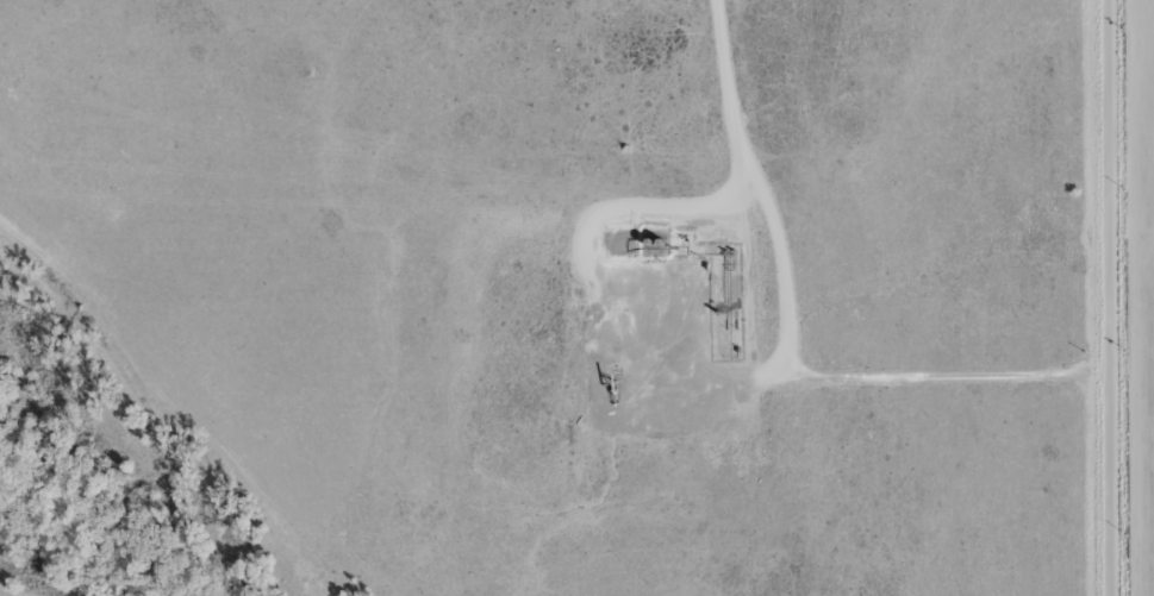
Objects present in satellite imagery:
road: (1106, 297)

